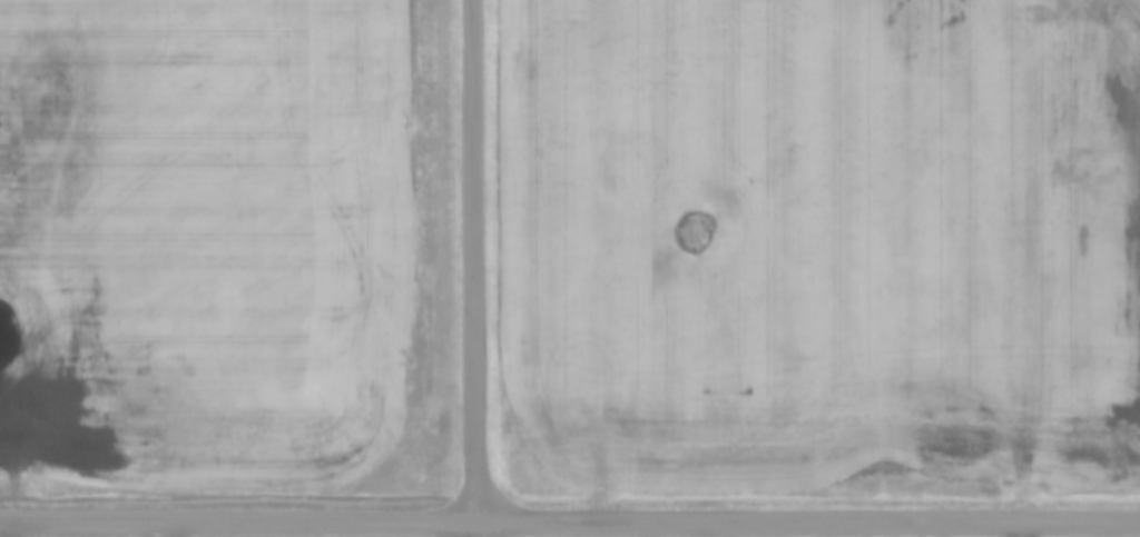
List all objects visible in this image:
road: (474, 268)
road: (237, 517)
road: (807, 518)
road: (14, 527)
road: (171, 527)
road: (1021, 528)

